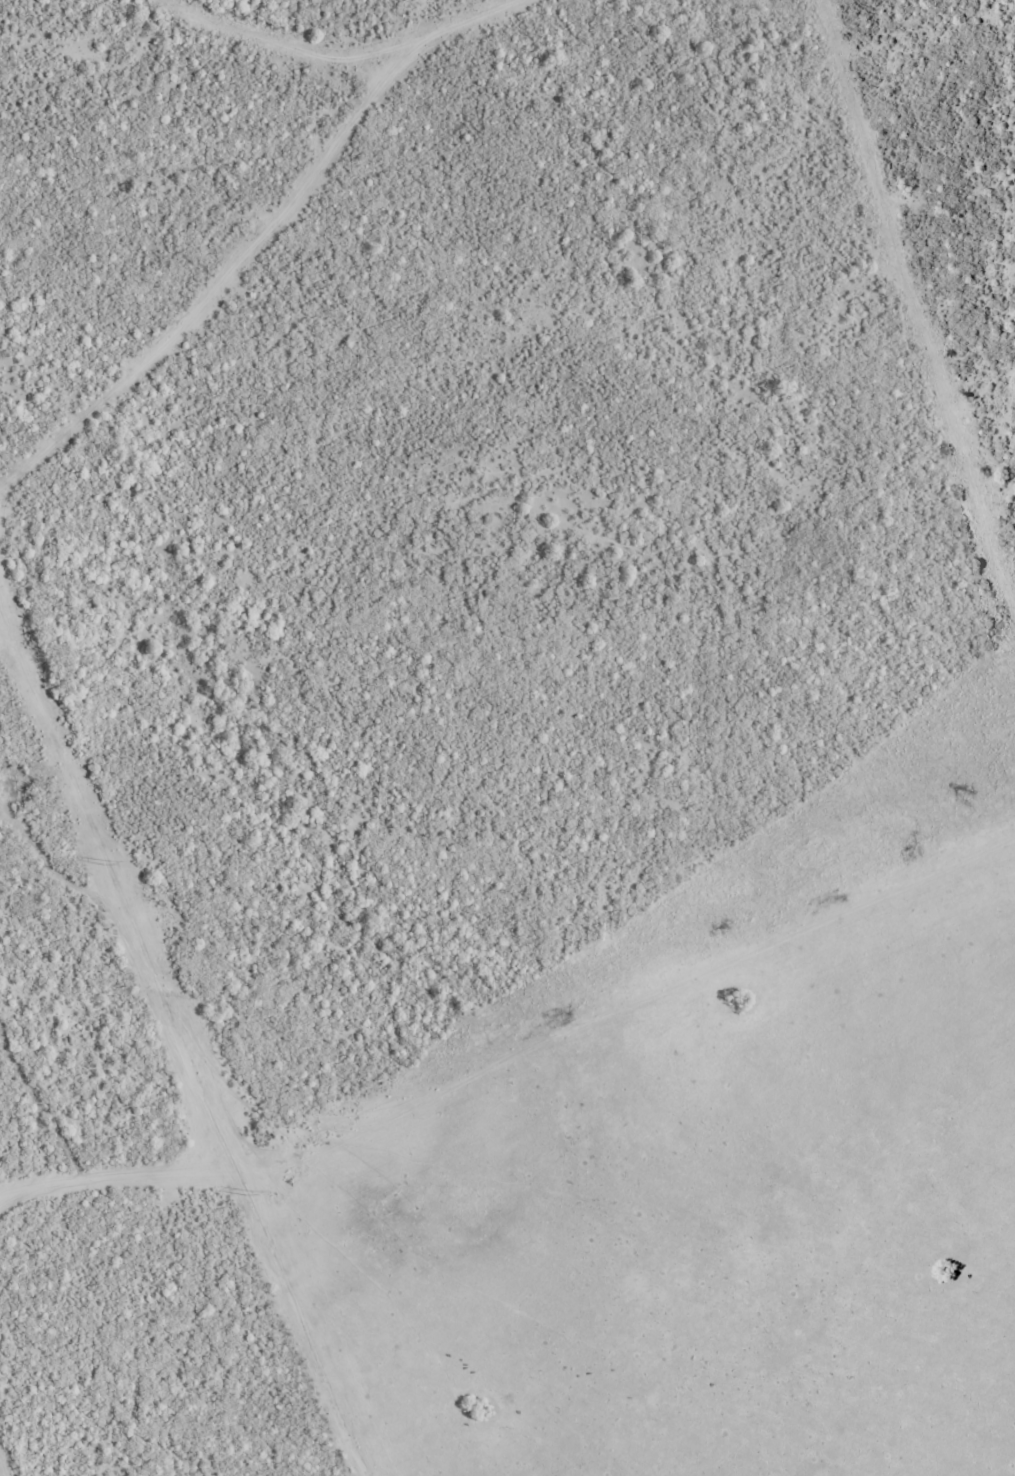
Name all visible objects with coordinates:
road: (349, 63)
power tower: (107, 864)
power tower: (247, 1195)

